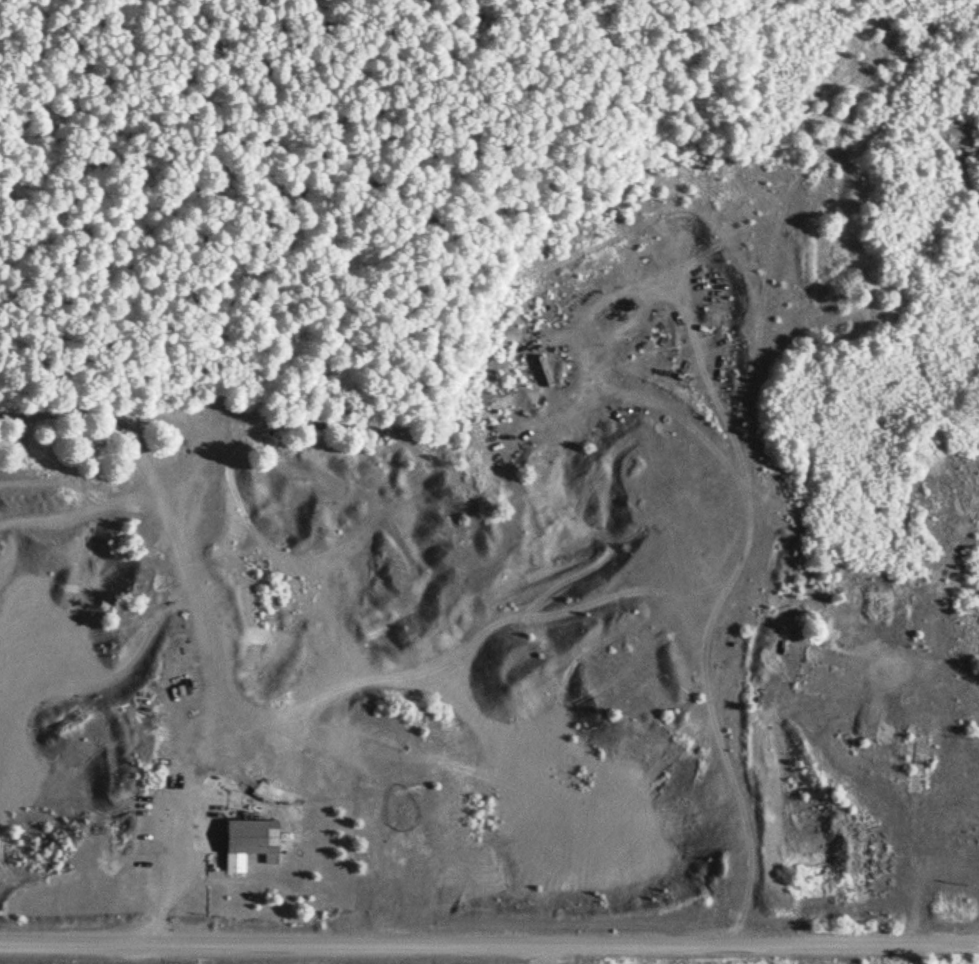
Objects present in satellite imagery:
quarry: (379, 469)
road: (705, 666)
road: (255, 708)
building: (248, 843)
road: (489, 944)

